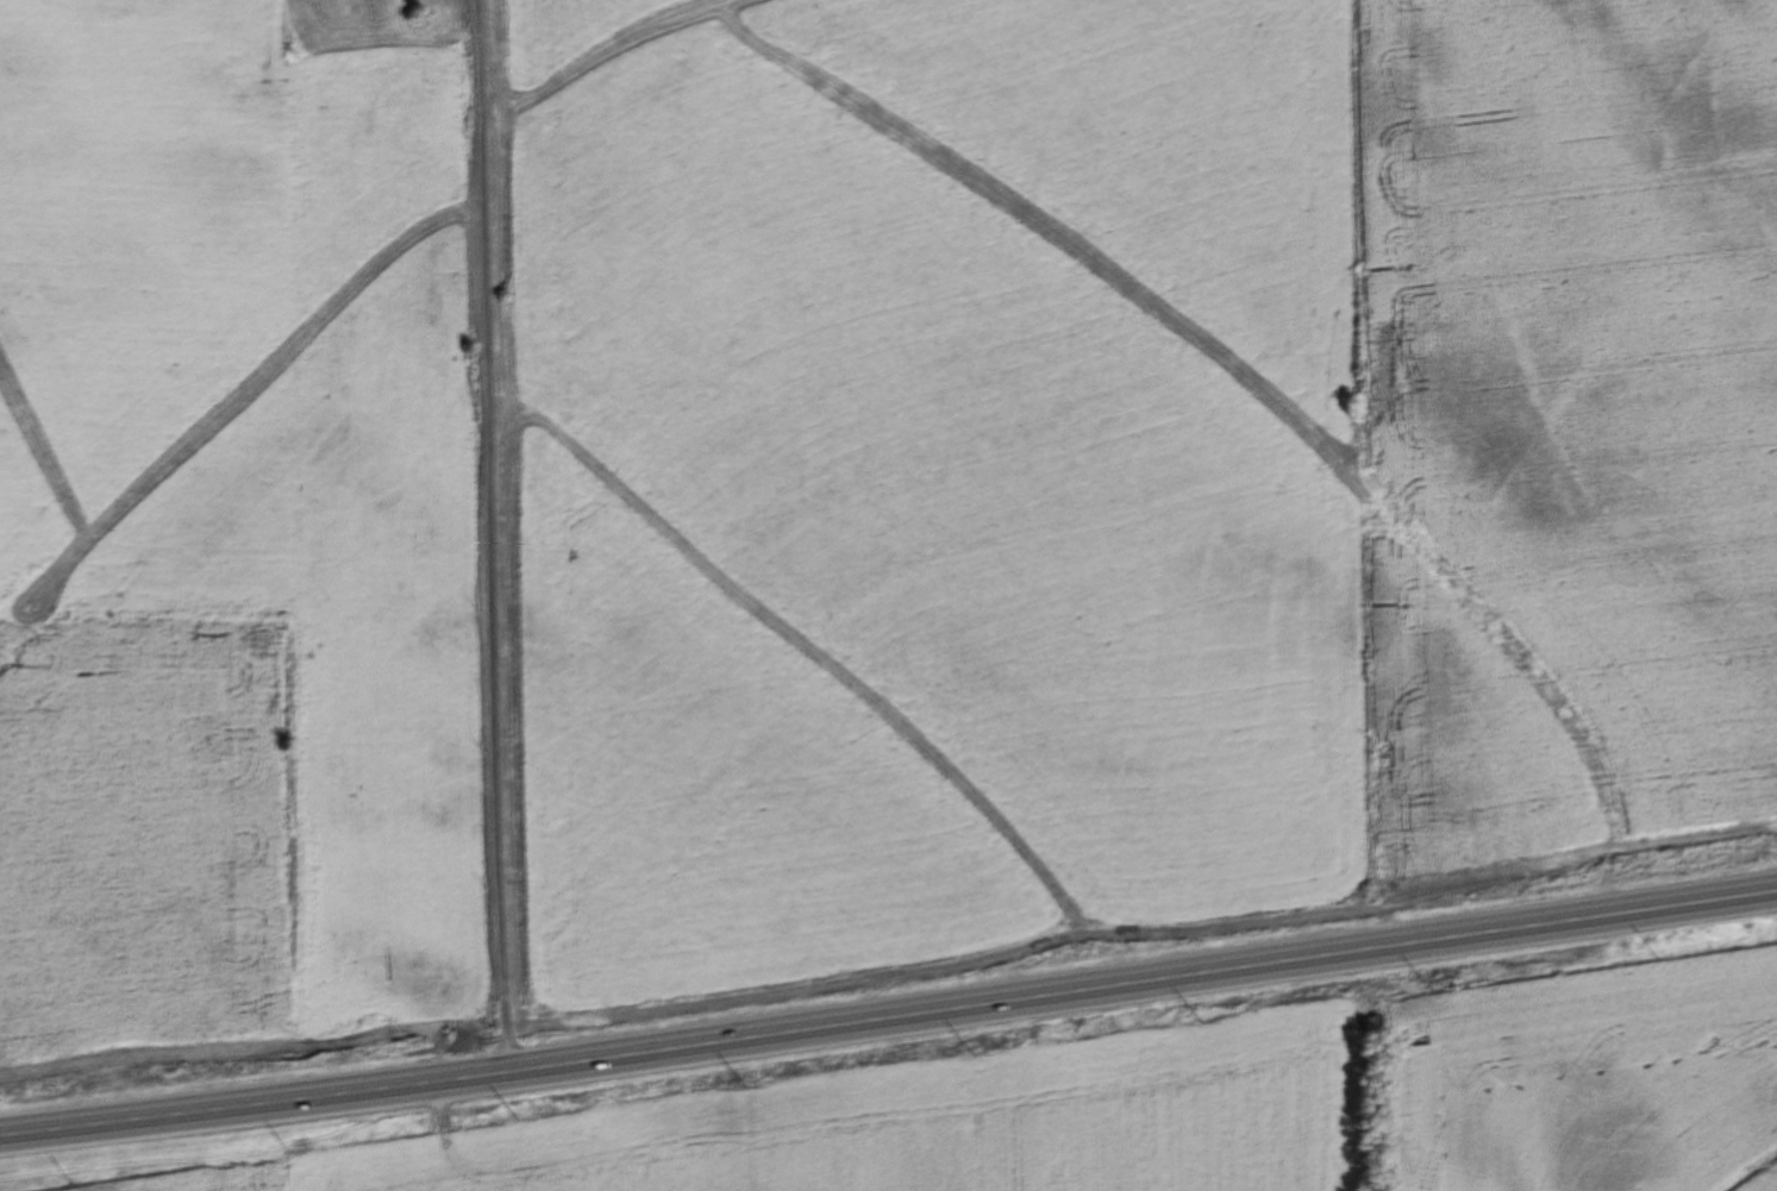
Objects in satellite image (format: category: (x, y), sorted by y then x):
road: (490, 537)
road: (888, 1018)

